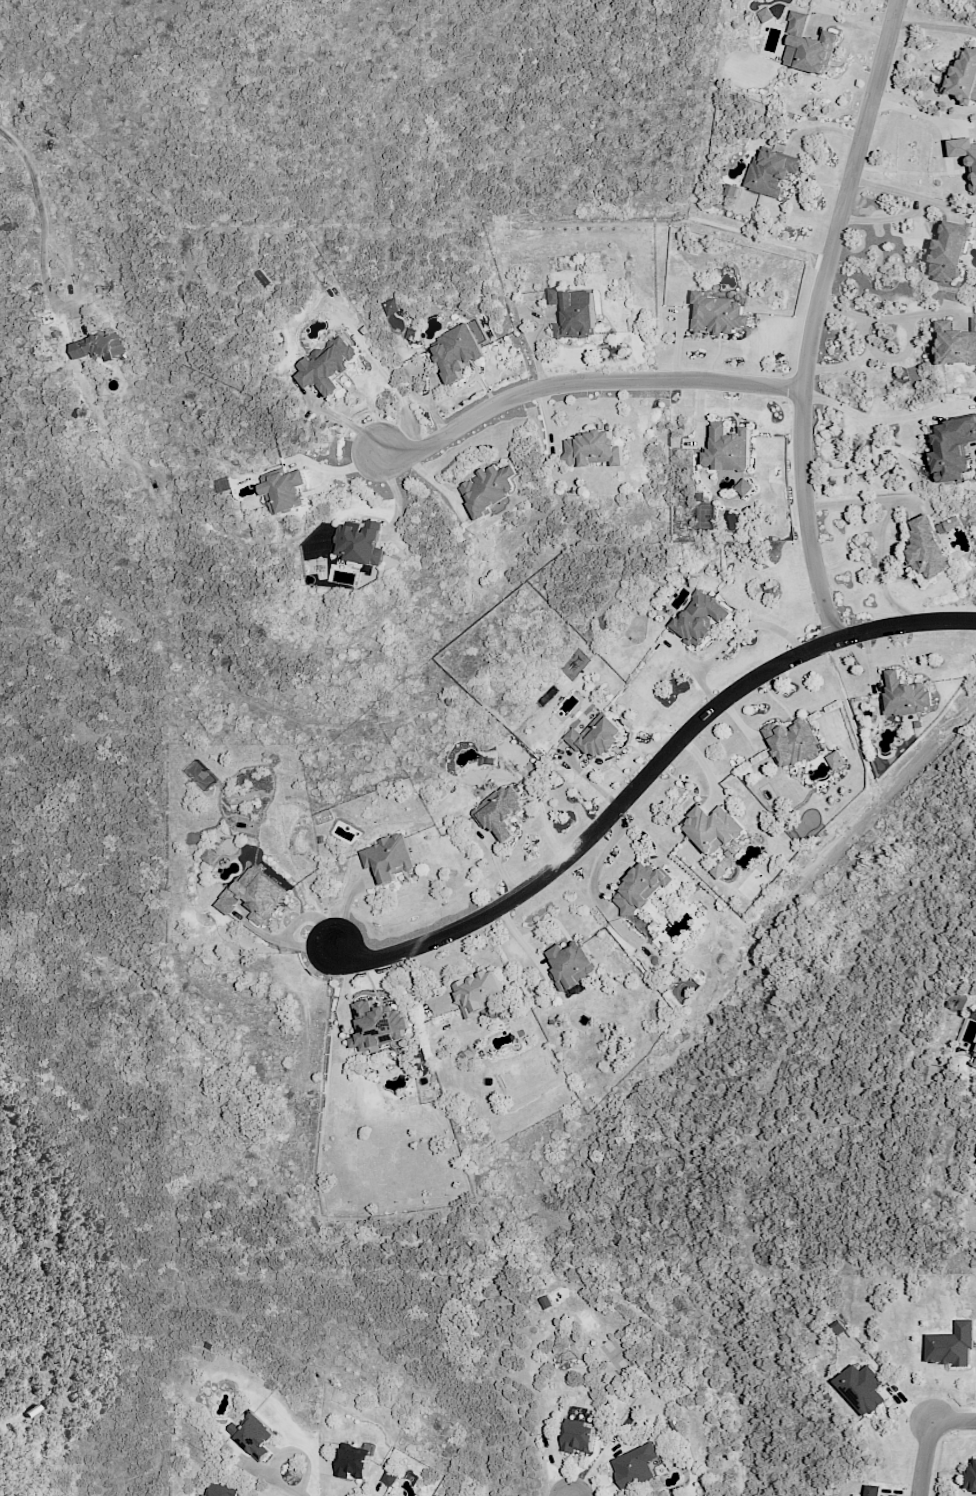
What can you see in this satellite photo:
building: (764, 14)
building: (796, 20)
building: (811, 51)
building: (964, 77)
road: (923, 112)
building: (771, 171)
building: (972, 175)
building: (730, 190)
road: (916, 206)
road: (40, 215)
building: (949, 251)
building: (391, 306)
building: (574, 313)
building: (717, 314)
road: (819, 317)
building: (956, 342)
building: (100, 346)
road: (909, 348)
building: (458, 350)
building: (327, 365)
road: (586, 383)
road: (398, 393)
road: (349, 424)
road: (874, 441)
building: (952, 447)
building: (727, 448)
building: (592, 449)
building: (224, 484)
building: (744, 487)
building: (488, 489)
building: (286, 491)
road: (862, 505)
road: (868, 523)
building: (948, 524)
building: (358, 542)
building: (927, 548)
road: (878, 568)
building: (699, 618)
building: (904, 694)
building: (597, 737)
building: (791, 741)
building: (836, 760)
road: (647, 776)
building: (500, 813)
building: (713, 828)
building: (387, 857)
building: (639, 888)
building: (254, 895)
building: (570, 965)
building: (480, 995)
building: (973, 1012)
building: (378, 1025)
building: (974, 1063)
building: (950, 1345)
building: (861, 1388)
road: (953, 1419)
building: (578, 1434)
building: (253, 1435)
road: (282, 1454)
road: (922, 1457)
building: (353, 1460)
building: (634, 1465)
building: (390, 1477)
building: (970, 1478)
building: (222, 1490)
building: (873, 1490)
road: (299, 1495)
building: (387, 1495)
building: (859, 1495)

